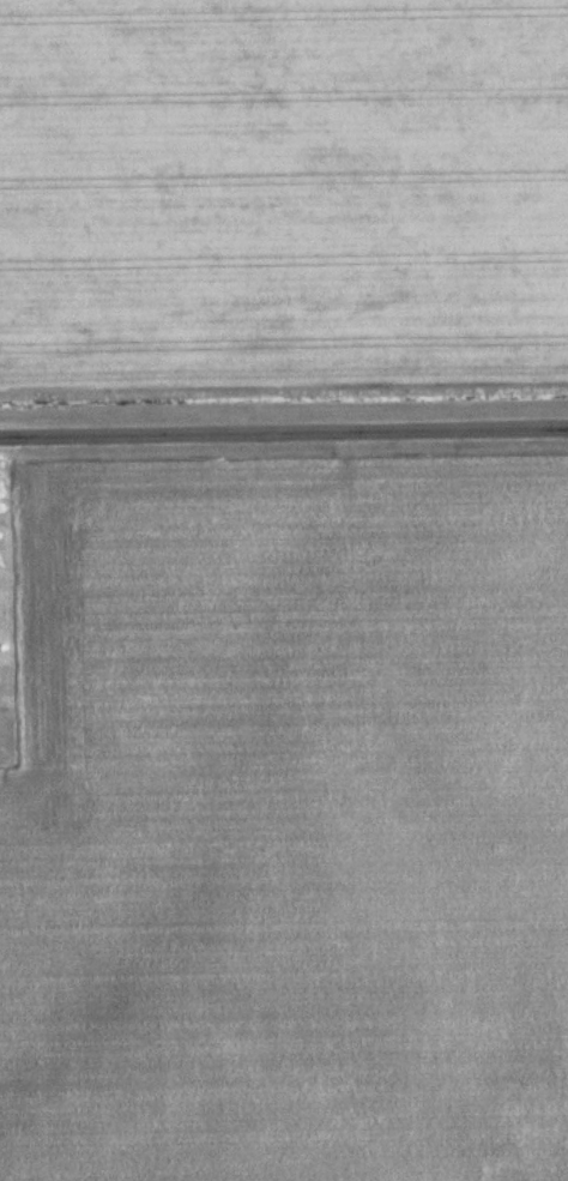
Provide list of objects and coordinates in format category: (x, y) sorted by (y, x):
crop: (282, 197)
road: (284, 434)
crop: (288, 828)

